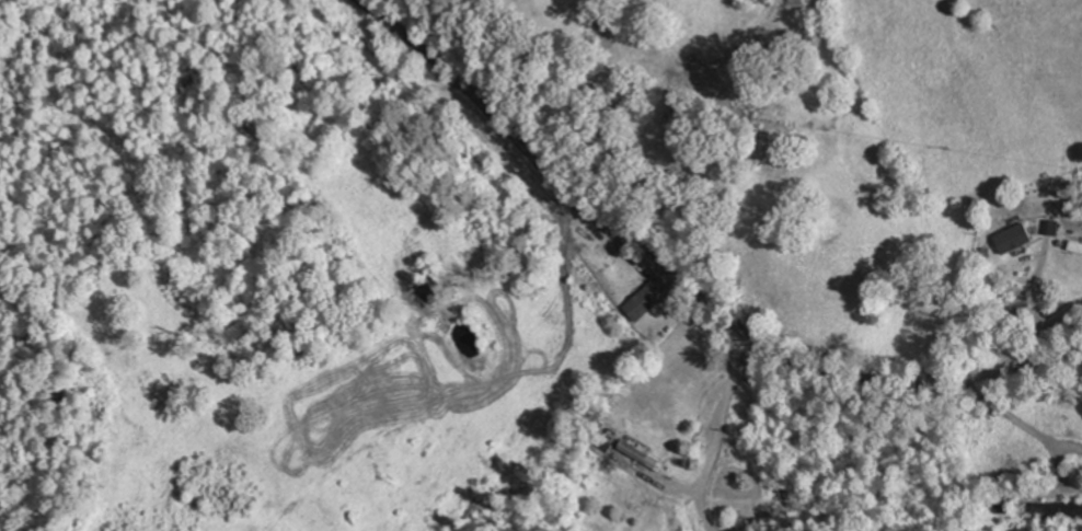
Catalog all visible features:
building: (1051, 227)
building: (1016, 235)
building: (1075, 246)
road: (690, 277)
building: (433, 288)
building: (646, 298)
building: (1057, 510)

